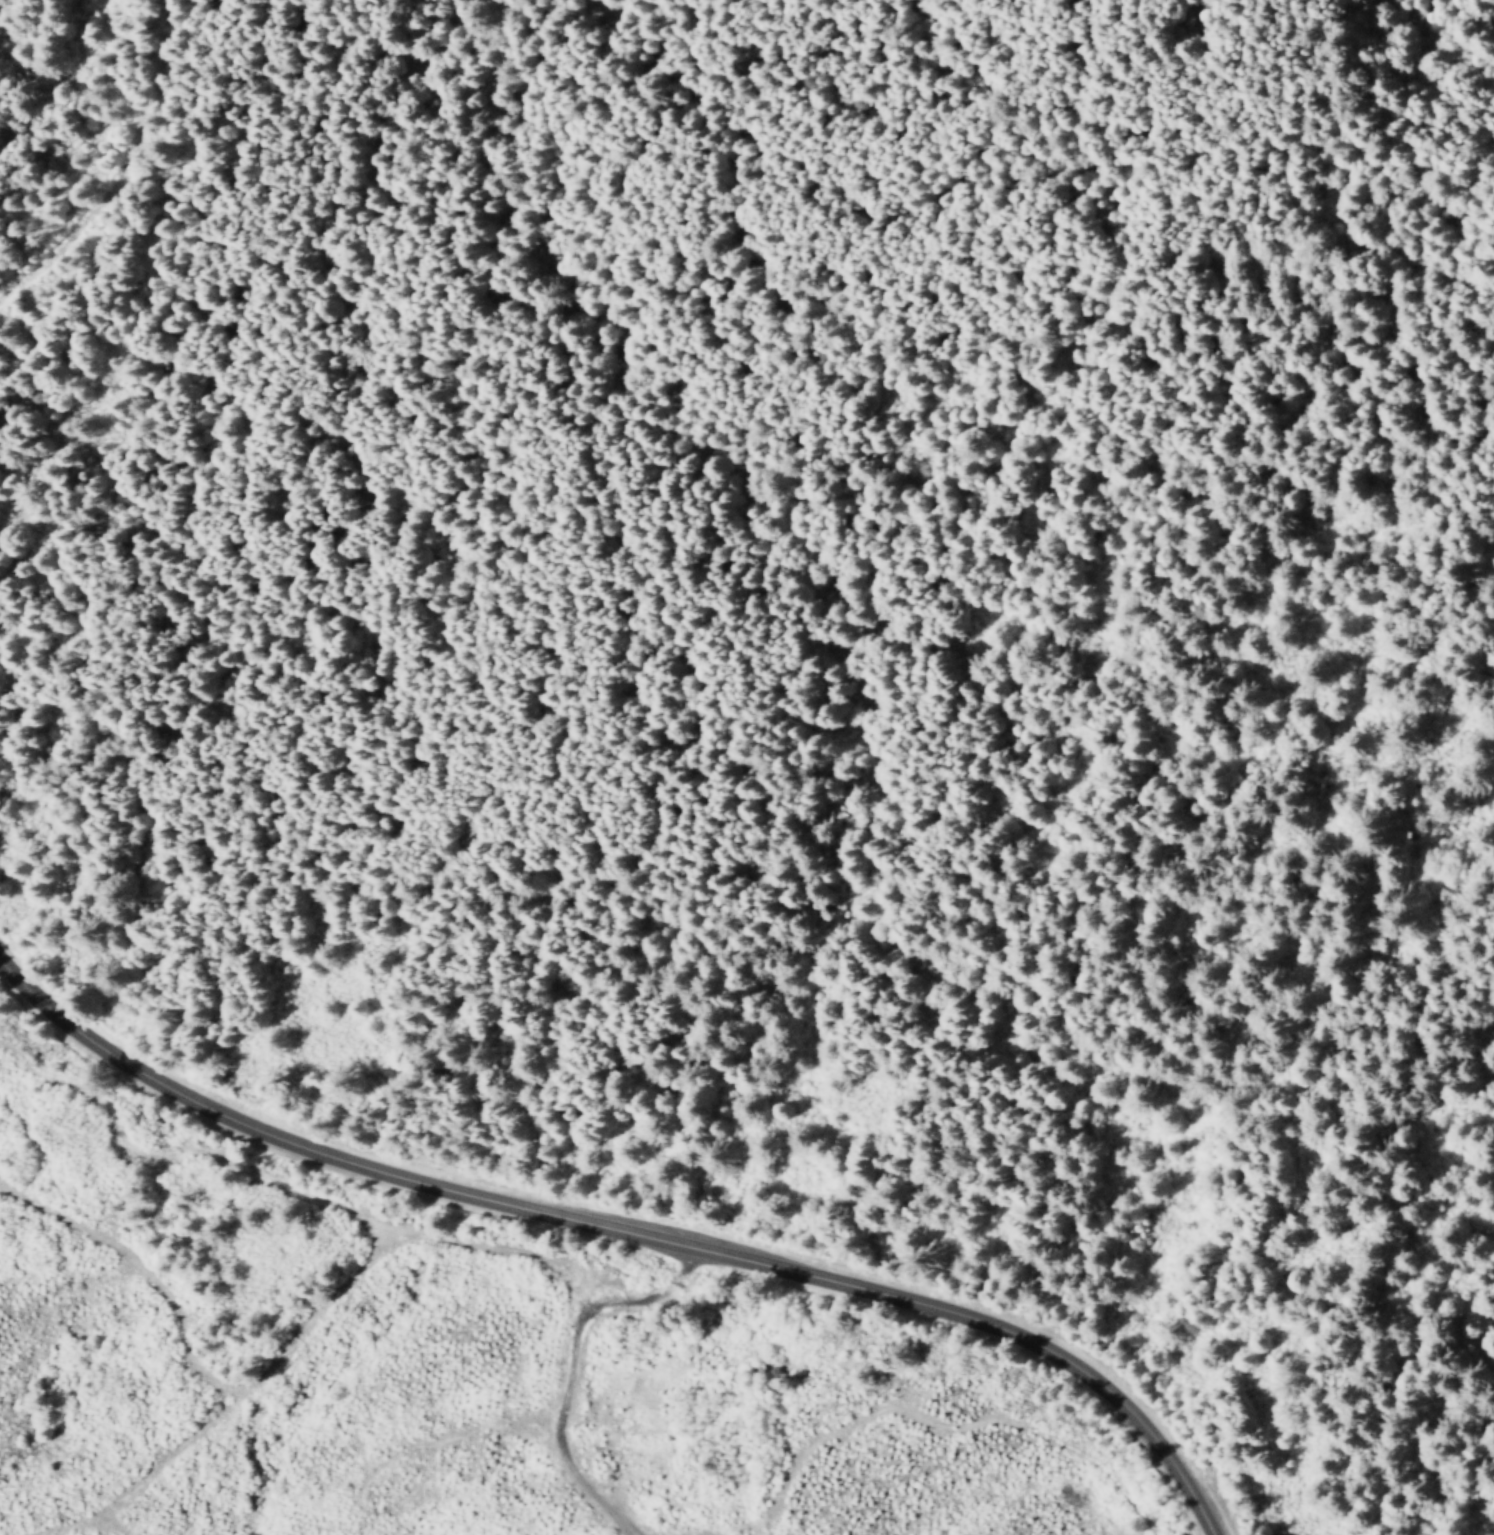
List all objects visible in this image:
road: (1225, 759)
road: (626, 1235)

